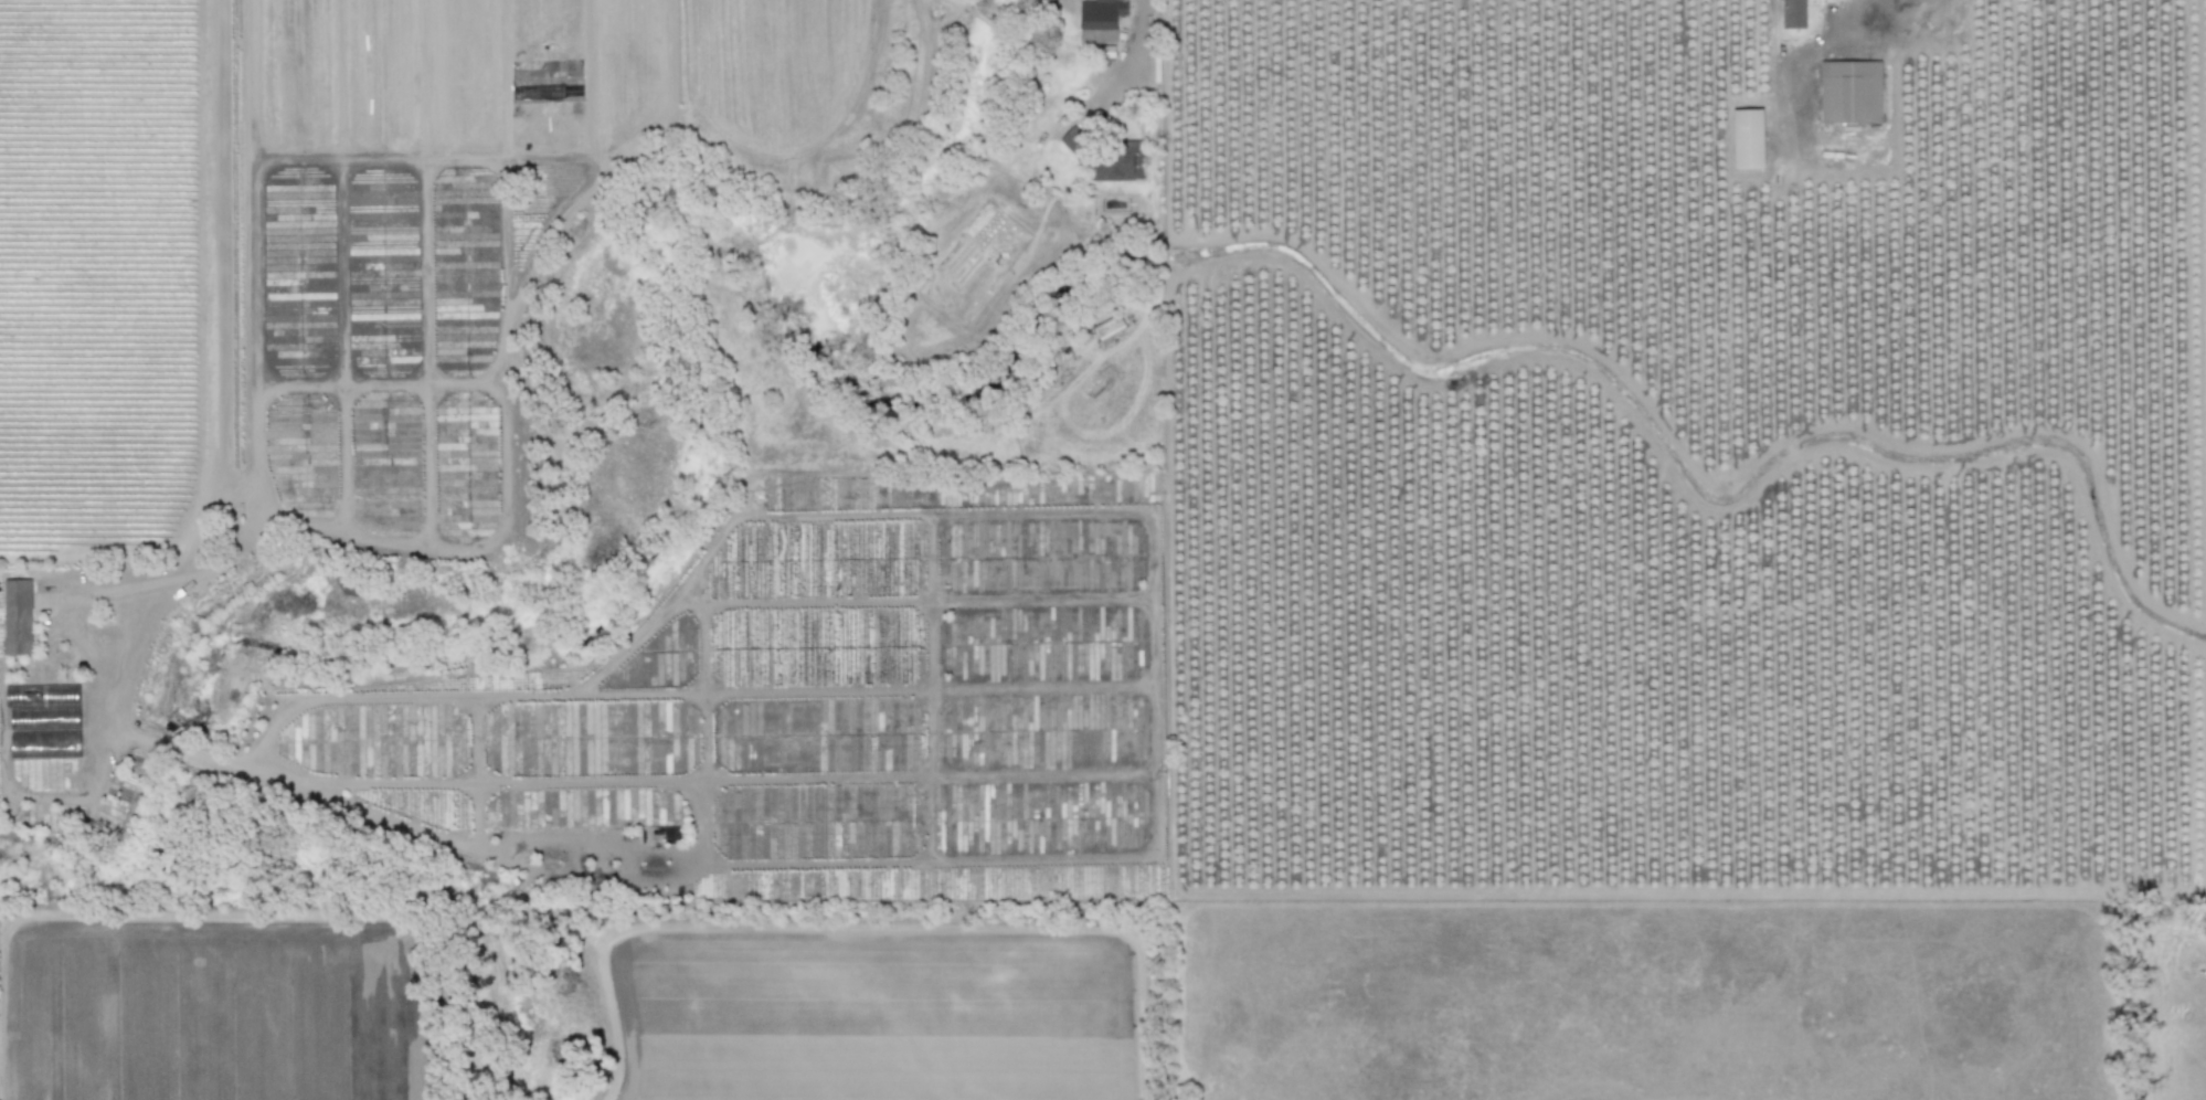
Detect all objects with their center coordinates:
road: (1860, 1)
building: (1792, 13)
building: (1099, 19)
road: (1146, 21)
building: (1849, 91)
building: (1747, 137)
building: (1075, 142)
road: (214, 322)
crop: (109, 421)
crop: (1476, 599)
building: (17, 615)
building: (46, 700)
crop: (199, 990)

